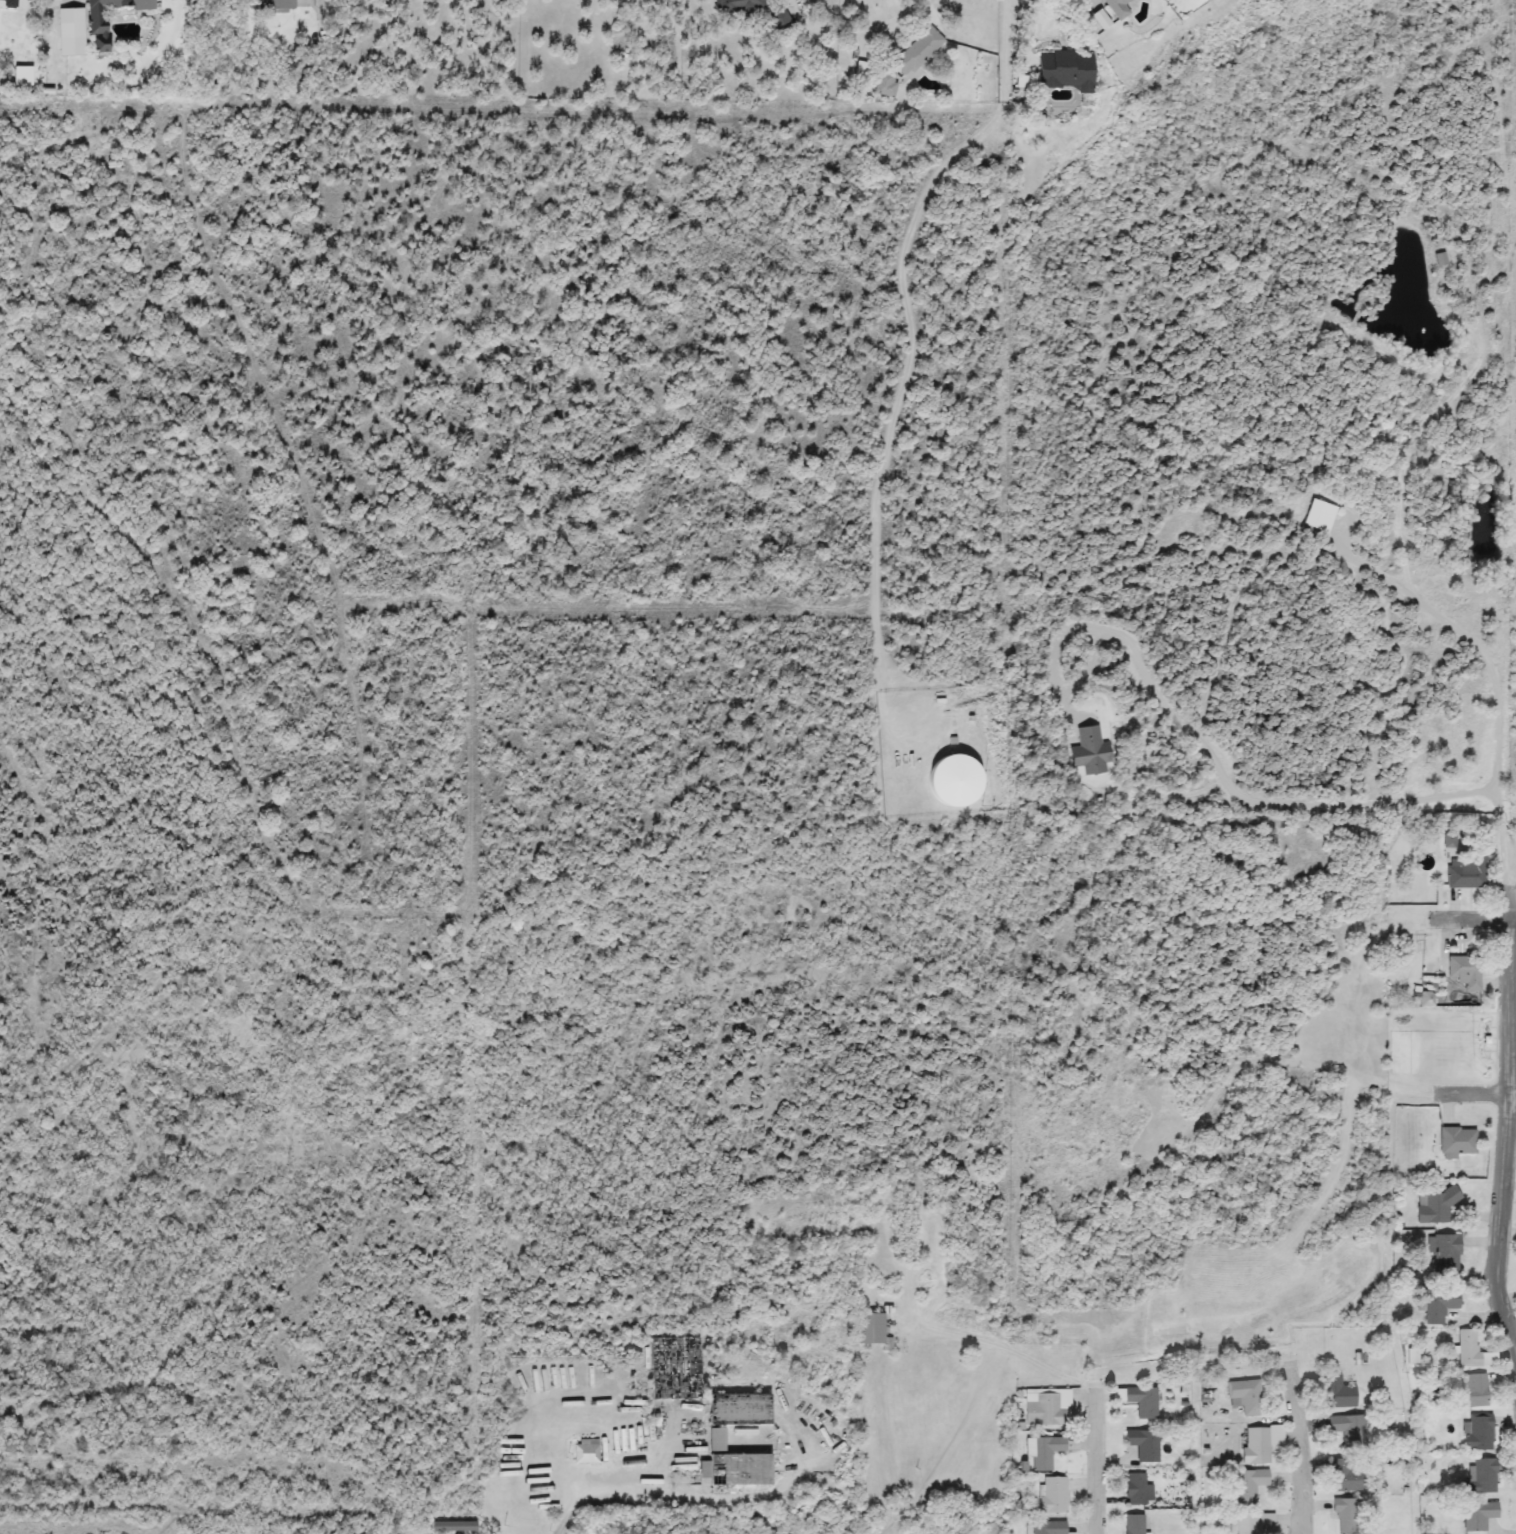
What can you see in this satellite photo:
building: (2, 0)
building: (273, 4)
building: (741, 5)
building: (1117, 7)
building: (779, 19)
building: (97, 31)
building: (70, 32)
road: (1030, 32)
road: (887, 39)
building: (916, 52)
building: (1063, 70)
road: (911, 348)
building: (1318, 516)
road: (1471, 640)
building: (1088, 752)
road: (1216, 770)
building: (1448, 840)
building: (1466, 871)
road: (1477, 919)
building: (1461, 970)
road: (1510, 1076)
road: (1475, 1095)
building: (1454, 1142)
building: (1433, 1206)
building: (1442, 1253)
building: (1438, 1305)
building: (867, 1327)
building: (1168, 1331)
power tower: (1002, 1336)
road: (1007, 1347)
building: (1468, 1348)
building: (1471, 1390)
building: (1336, 1393)
building: (1245, 1396)
building: (1141, 1401)
building: (1045, 1407)
building: (1346, 1431)
building: (1478, 1432)
building: (1142, 1444)
building: (1256, 1446)
road: (1298, 1446)
building: (1044, 1452)
building: (585, 1454)
road: (1098, 1459)
building: (731, 1464)
building: (1346, 1475)
building: (1481, 1477)
building: (1248, 1485)
road: (582, 1486)
building: (1137, 1490)
building: (1052, 1495)
building: (1344, 1514)
building: (1477, 1515)
building: (1252, 1522)
road: (893, 1524)
road: (88, 1525)
building: (1047, 1528)

